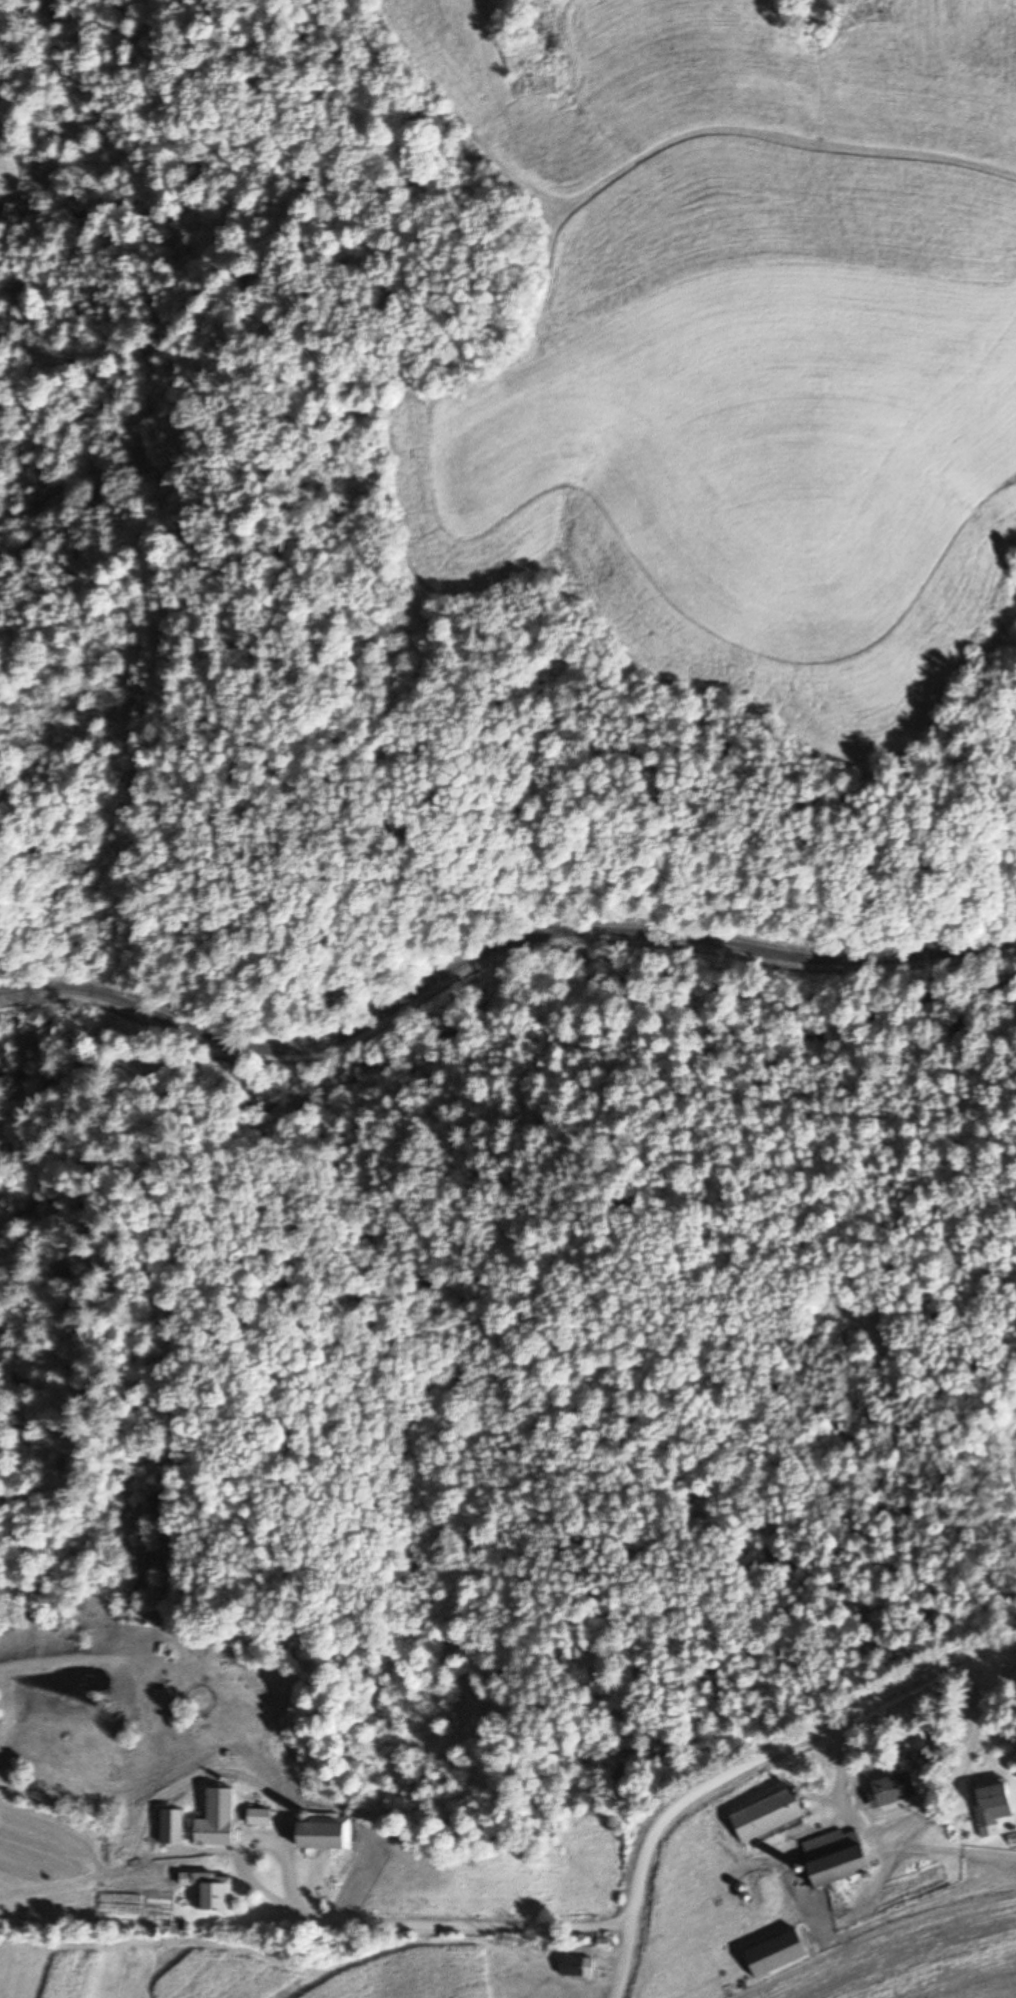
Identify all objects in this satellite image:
road: (494, 961)
building: (933, 1746)
road: (750, 1765)
building: (896, 1789)
building: (991, 1803)
road: (918, 1811)
building: (259, 1817)
building: (172, 1827)
building: (214, 1833)
building: (325, 1834)
building: (834, 1859)
building: (216, 1896)
road: (365, 1922)
building: (576, 1967)

